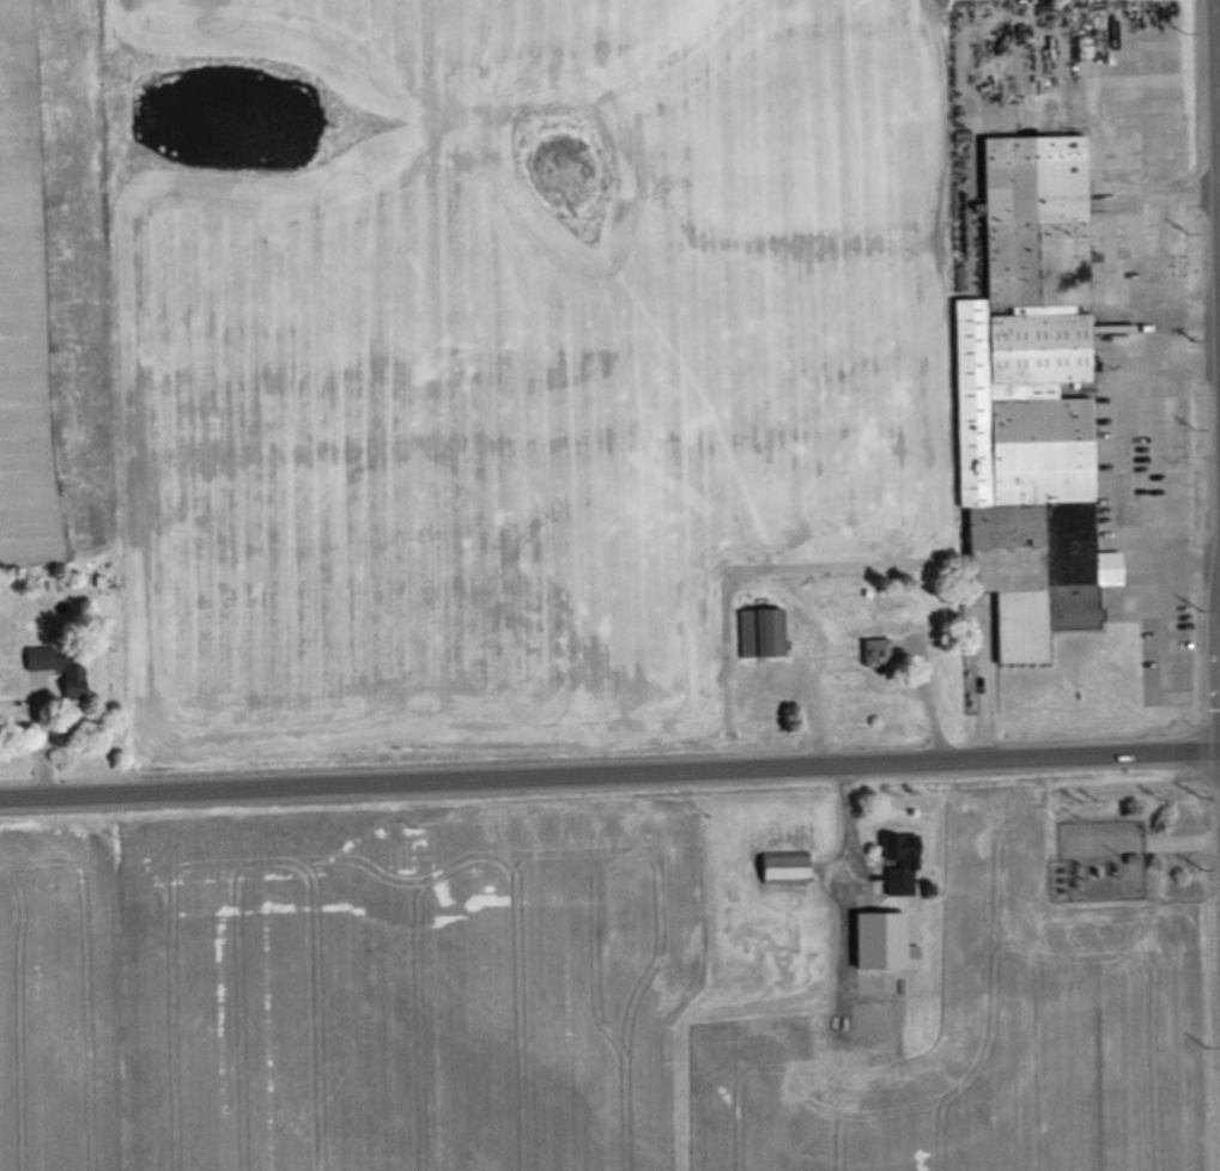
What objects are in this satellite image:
road: (1216, 111)
building: (1031, 400)
building: (760, 632)
building: (876, 651)
building: (74, 682)
road: (609, 771)
building: (900, 862)
building: (784, 866)
building: (884, 941)

